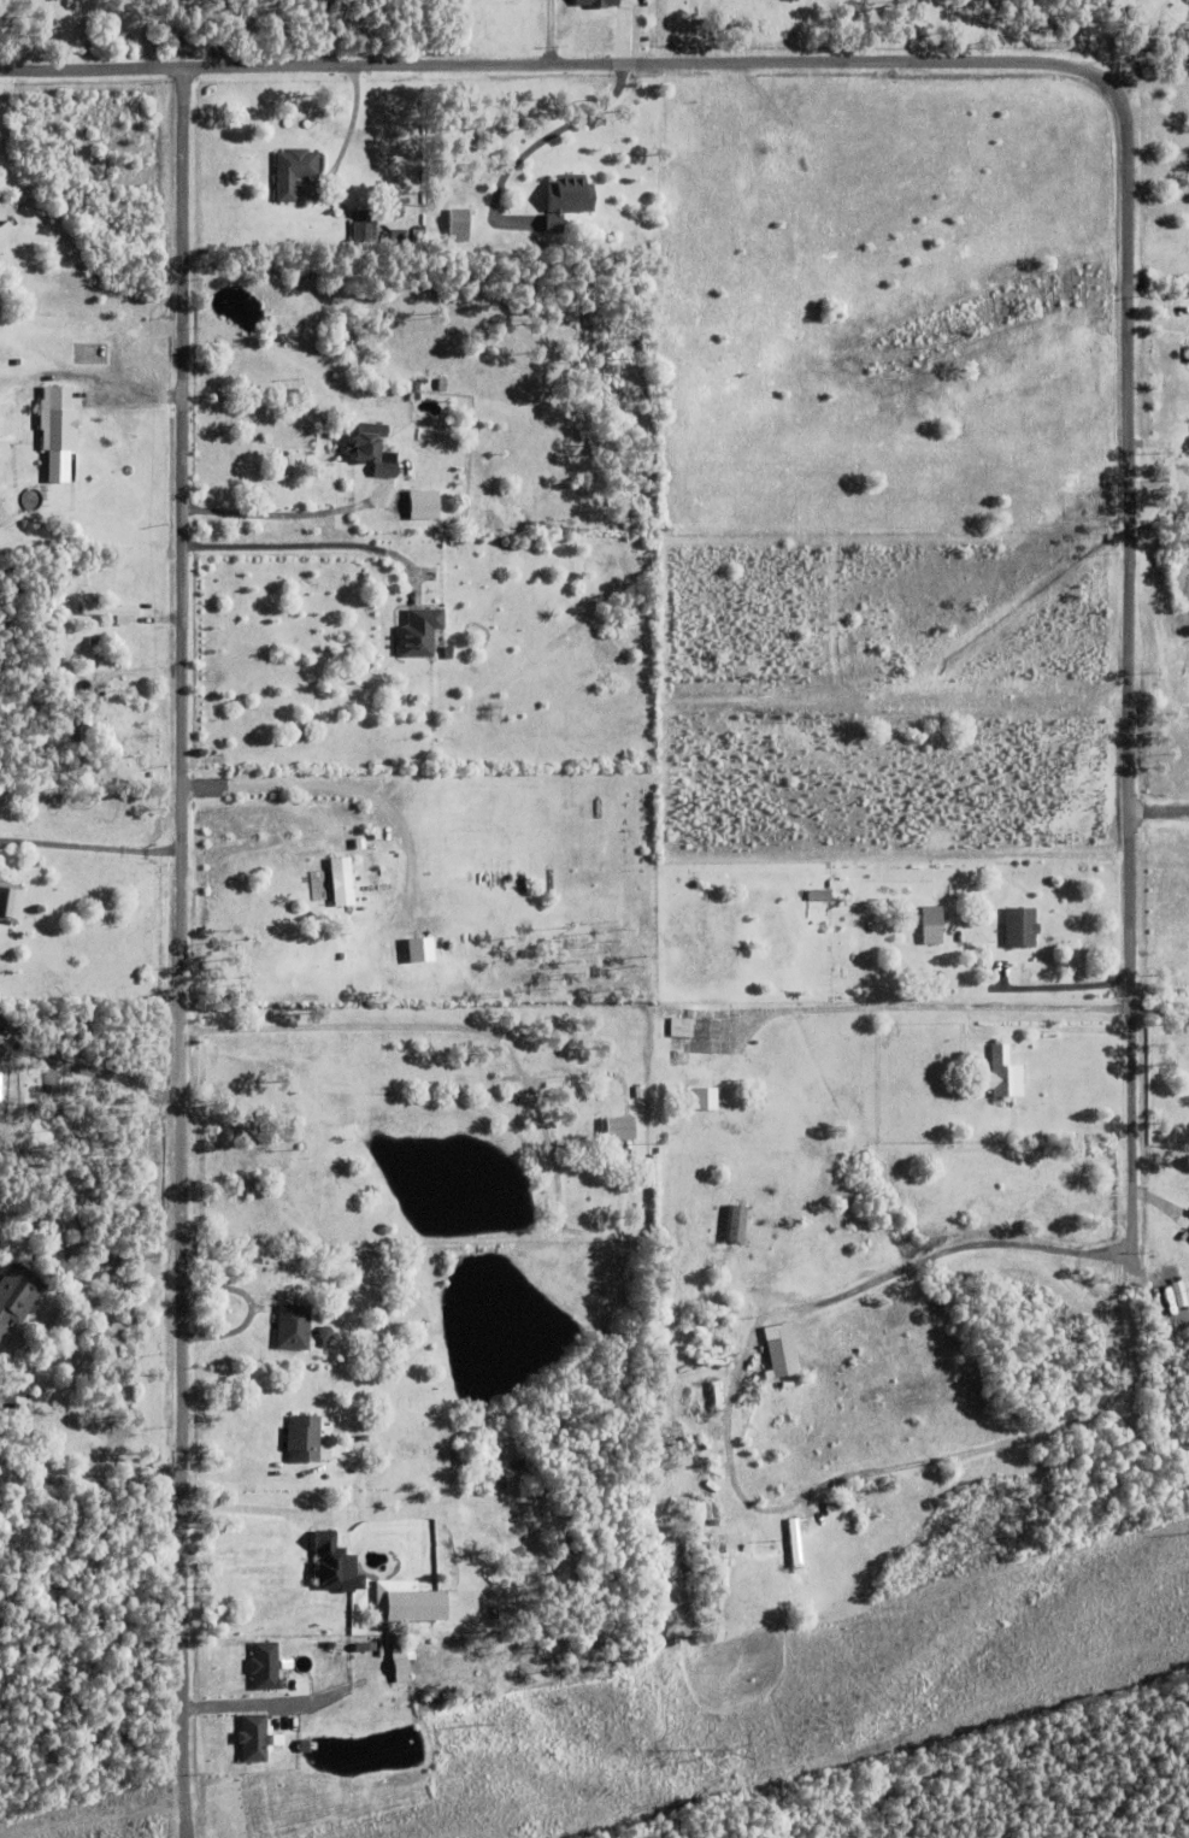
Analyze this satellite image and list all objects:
building: (605, 4)
road: (1148, 83)
road: (1124, 111)
road: (540, 141)
building: (293, 172)
building: (360, 183)
building: (566, 201)
building: (458, 226)
building: (364, 229)
building: (5, 231)
building: (405, 238)
building: (1188, 355)
building: (417, 385)
building: (442, 385)
building: (382, 393)
building: (61, 422)
building: (584, 423)
building: (372, 450)
road: (266, 517)
road: (300, 547)
building: (108, 612)
building: (108, 628)
building: (420, 635)
building: (86, 734)
road: (339, 785)
road: (1159, 813)
building: (345, 848)
road: (184, 860)
building: (340, 885)
building: (819, 896)
building: (10, 906)
building: (932, 927)
building: (1020, 930)
building: (416, 954)
road: (1160, 1007)
road: (934, 1009)
building: (682, 1025)
road: (428, 1026)
road: (1059, 1032)
building: (1003, 1072)
building: (705, 1096)
building: (619, 1125)
building: (740, 1223)
building: (729, 1227)
building: (18, 1291)
building: (295, 1326)
building: (781, 1348)
building: (719, 1351)
building: (711, 1360)
building: (784, 1382)
building: (716, 1392)
building: (665, 1395)
building: (681, 1397)
building: (302, 1436)
building: (513, 1448)
building: (523, 1462)
road: (732, 1491)
road: (257, 1508)
building: (701, 1510)
building: (740, 1525)
building: (796, 1538)
building: (731, 1563)
building: (337, 1565)
building: (712, 1565)
building: (723, 1568)
road: (184, 1653)
building: (267, 1665)
building: (402, 1666)
building: (257, 1737)
power tower: (725, 1751)

